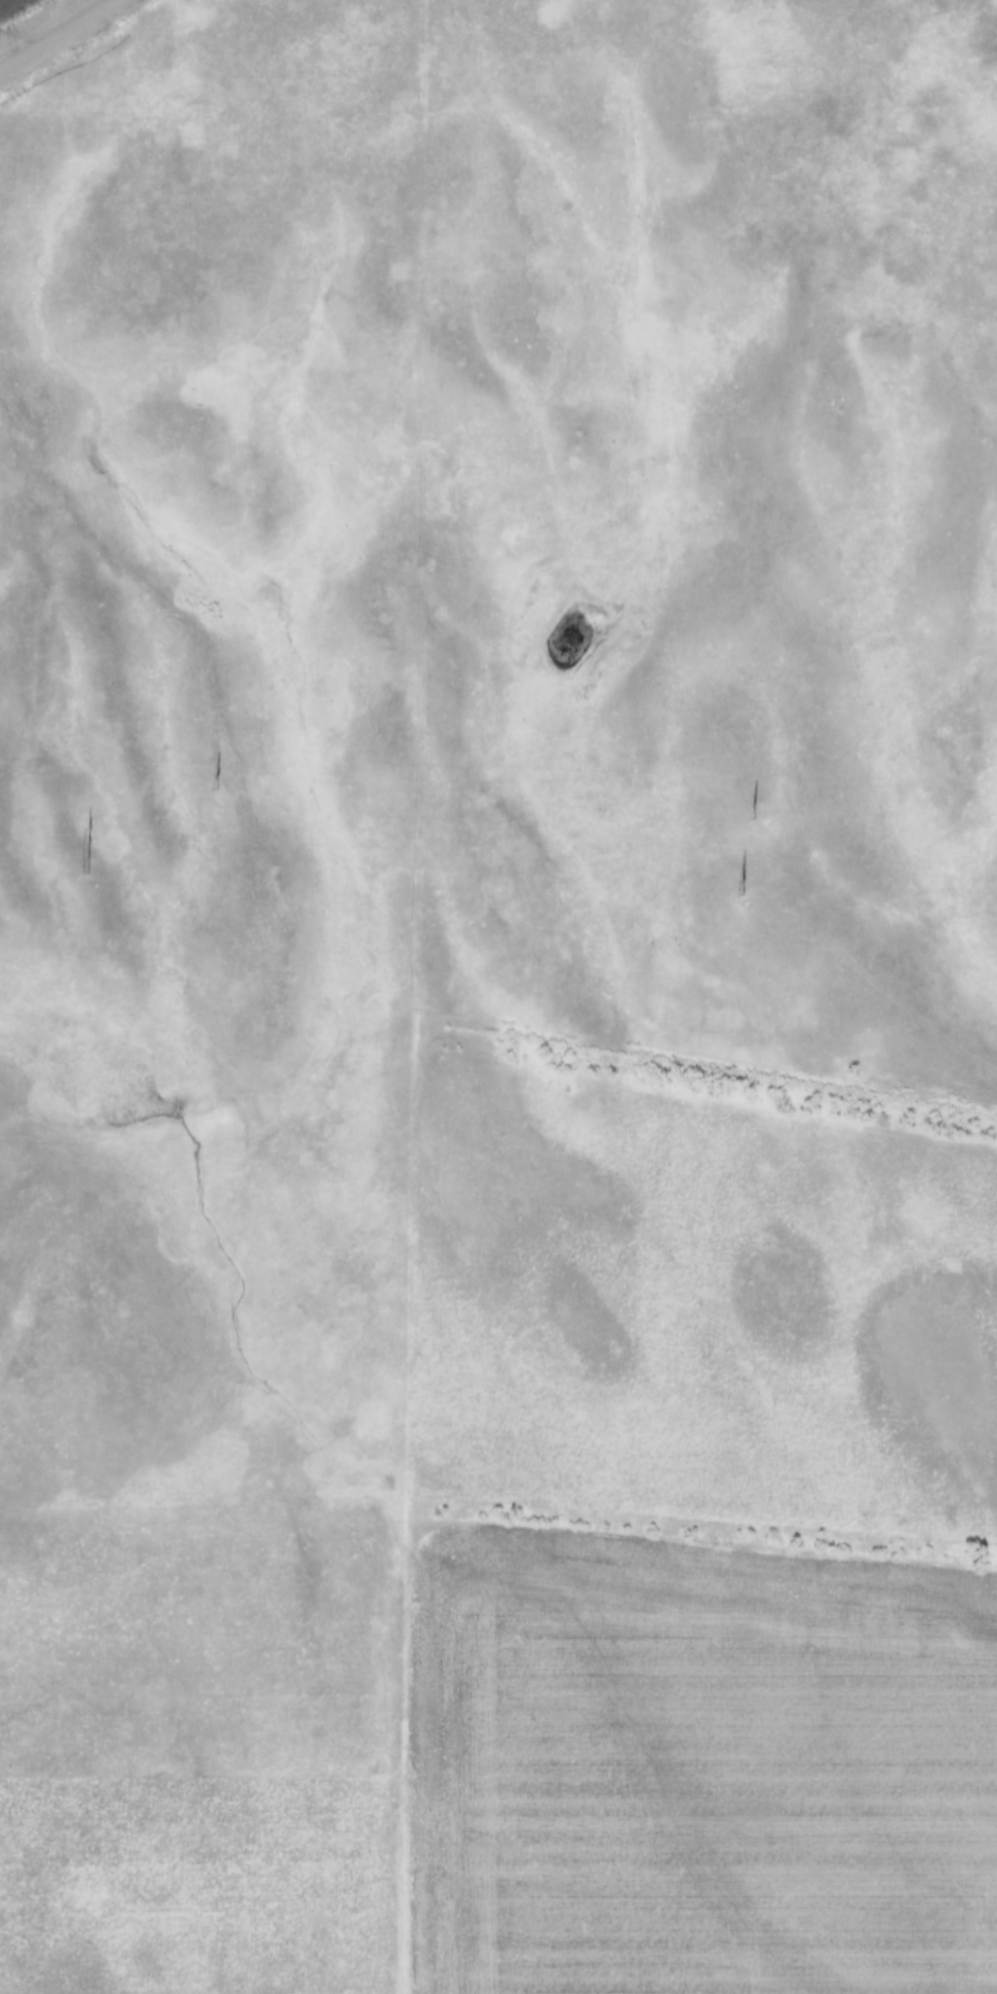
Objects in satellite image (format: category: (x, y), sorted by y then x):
power tower: (84, 849)
power tower: (739, 886)

